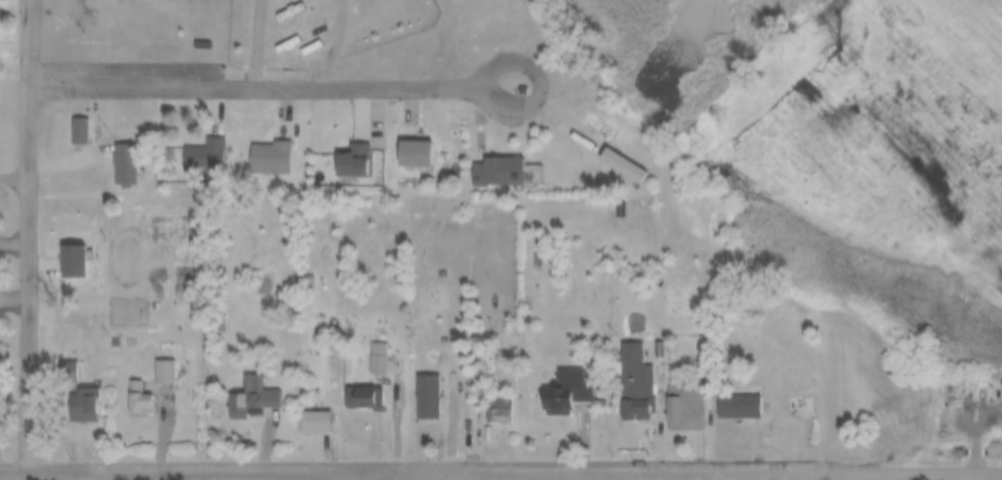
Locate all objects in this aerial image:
building: (487, 9)
building: (187, 33)
building: (491, 40)
building: (280, 46)
road: (526, 60)
road: (253, 81)
building: (65, 120)
building: (125, 126)
building: (76, 130)
building: (191, 143)
building: (400, 144)
building: (256, 146)
building: (338, 150)
building: (110, 154)
building: (607, 155)
building: (483, 163)
building: (237, 165)
building: (123, 169)
road: (15, 171)
building: (685, 220)
road: (31, 235)
road: (15, 239)
building: (57, 251)
road: (15, 301)
building: (206, 315)
building: (100, 330)
building: (644, 338)
building: (364, 347)
building: (376, 358)
building: (52, 361)
building: (149, 361)
building: (163, 372)
building: (620, 373)
building: (552, 381)
storage tank: (177, 383)
building: (413, 385)
building: (237, 387)
building: (350, 387)
building: (124, 389)
building: (68, 393)
building: (250, 396)
building: (670, 396)
building: (721, 396)
building: (361, 397)
building: (483, 397)
building: (137, 399)
building: (435, 403)
building: (80, 404)
building: (736, 406)
building: (797, 406)
building: (497, 408)
building: (301, 411)
building: (312, 422)
road: (868, 468)
road: (367, 469)
road: (214, 475)
road: (352, 475)
road: (66, 476)

